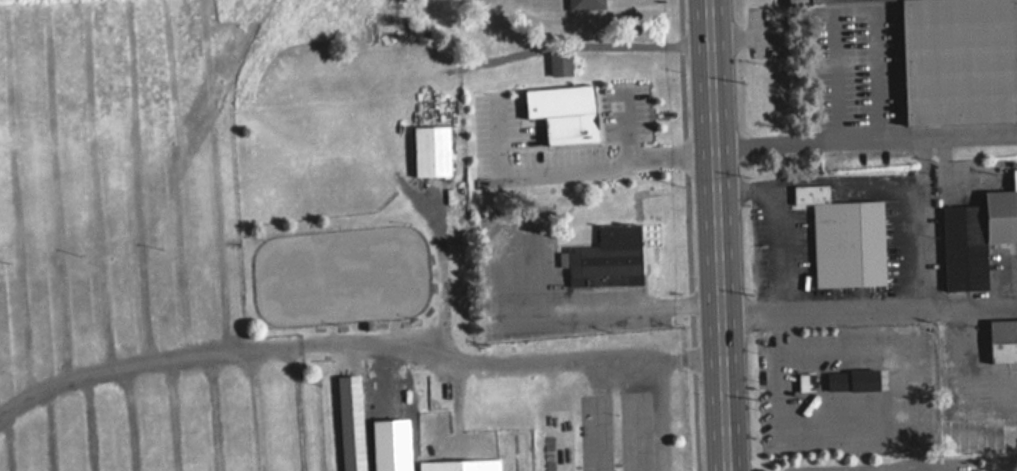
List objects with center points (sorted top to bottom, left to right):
building: (817, 1)
building: (591, 3)
building: (959, 60)
building: (578, 114)
road: (634, 123)
road: (863, 139)
building: (431, 150)
road: (574, 166)
road: (216, 174)
road: (177, 176)
road: (139, 180)
road: (100, 183)
road: (58, 190)
road: (19, 198)
road: (768, 226)
road: (713, 235)
building: (976, 236)
building: (849, 237)
building: (617, 257)
road: (446, 276)
road: (586, 307)
road: (866, 311)
building: (1003, 340)
road: (379, 355)
road: (691, 364)
building: (863, 380)
building: (805, 381)
road: (253, 408)
road: (298, 408)
road: (213, 410)
road: (175, 413)
road: (129, 417)
road: (88, 421)
building: (350, 422)
road: (49, 427)
road: (3, 441)
building: (459, 464)
road: (859, 468)

